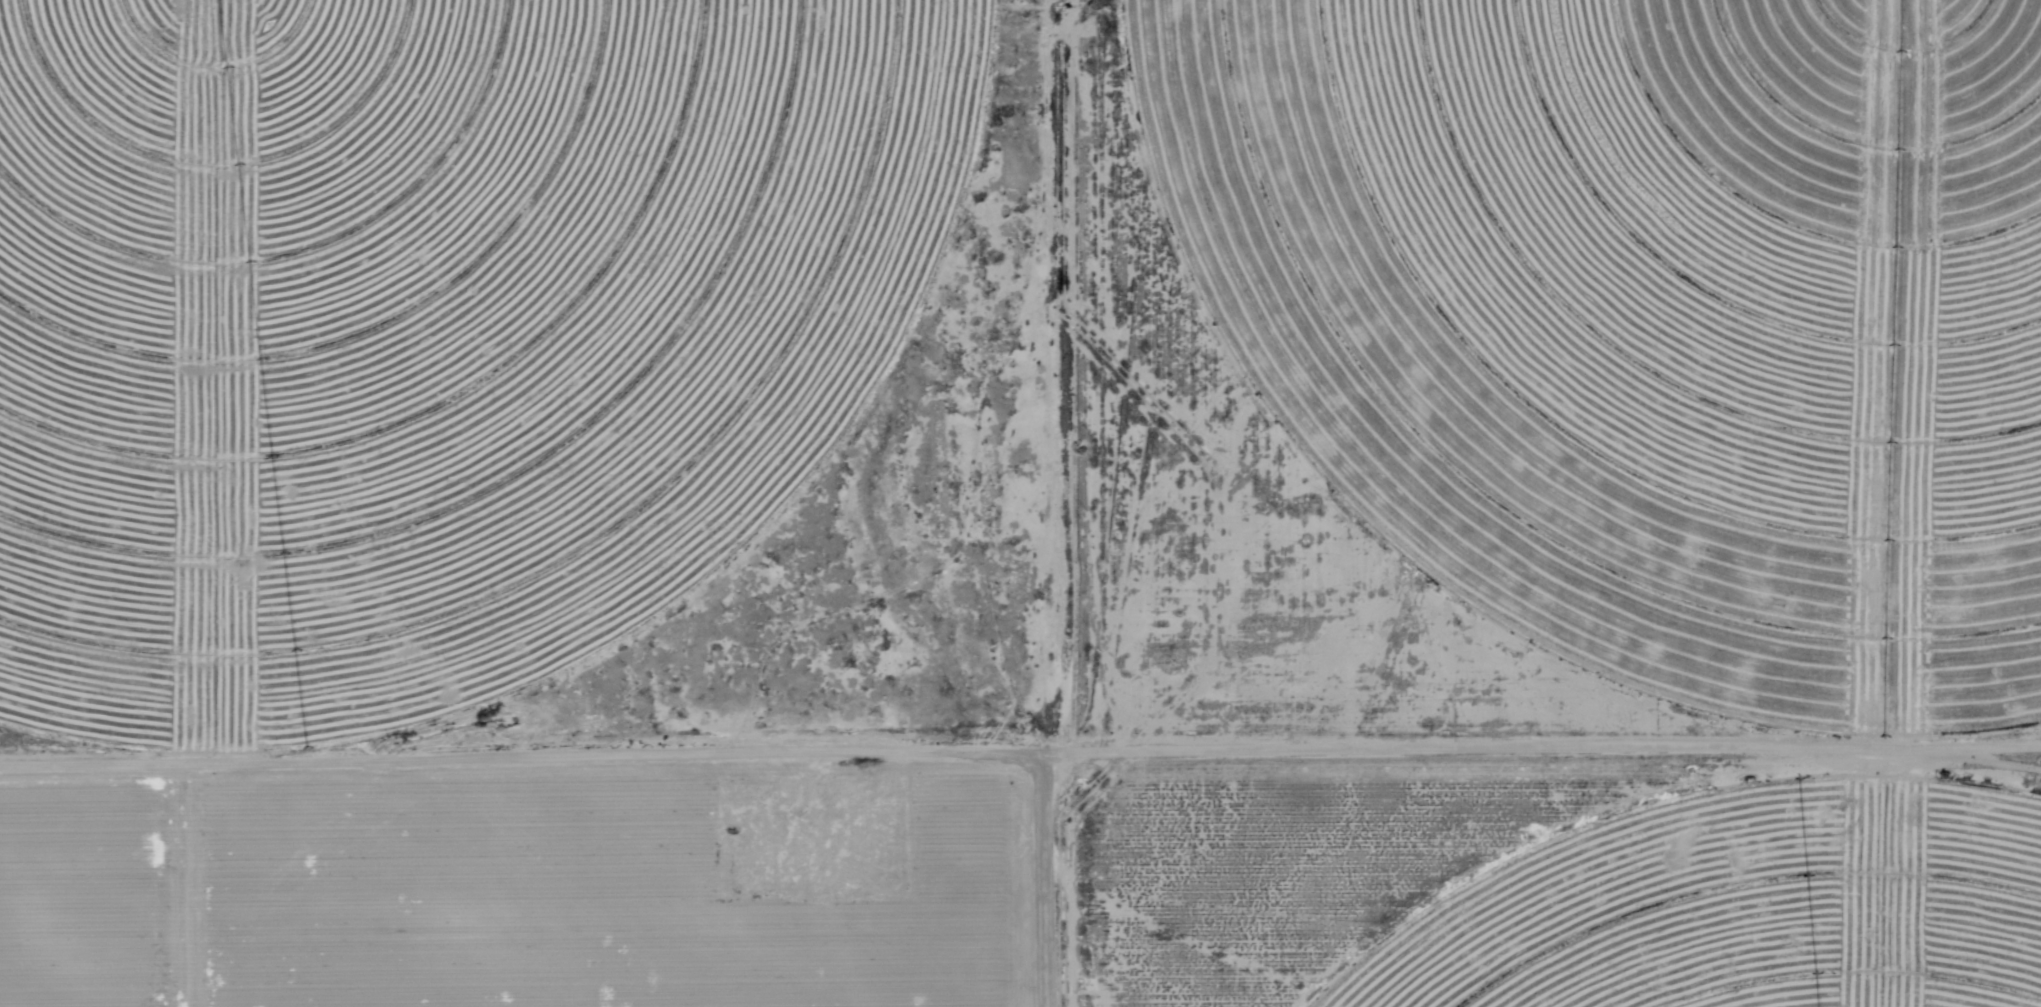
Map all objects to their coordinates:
crop: (1652, 316)
crop: (425, 327)
road: (1051, 503)
road: (1546, 735)
crop: (521, 886)
crop: (1748, 908)

